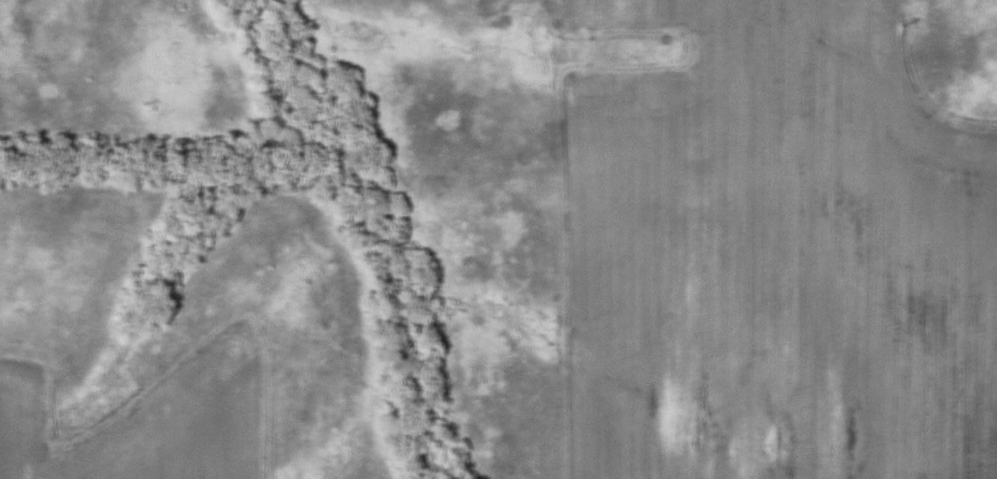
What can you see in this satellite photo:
crop: (766, 254)
crop: (148, 427)

